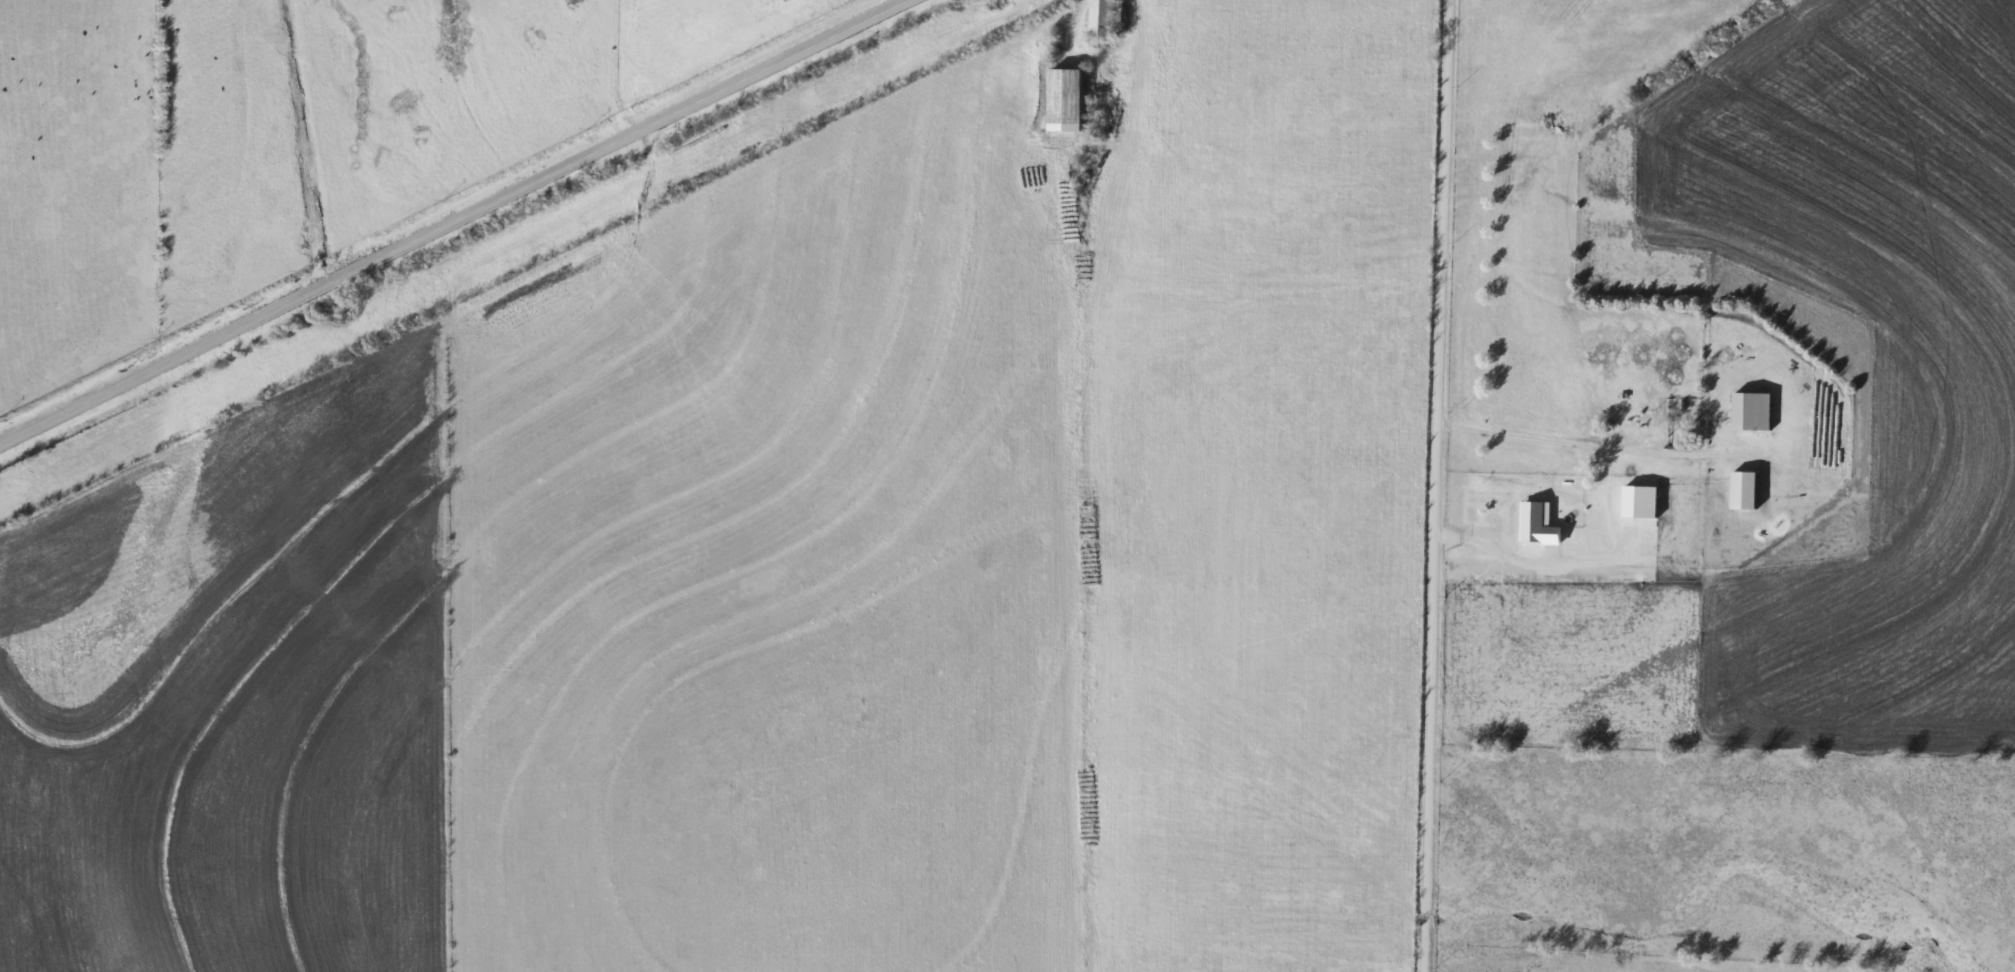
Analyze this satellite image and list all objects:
building: (1101, 17)
building: (1066, 101)
road: (1124, 109)
road: (453, 222)
building: (1752, 413)
road: (1564, 443)
road: (1431, 485)
road: (1489, 554)

